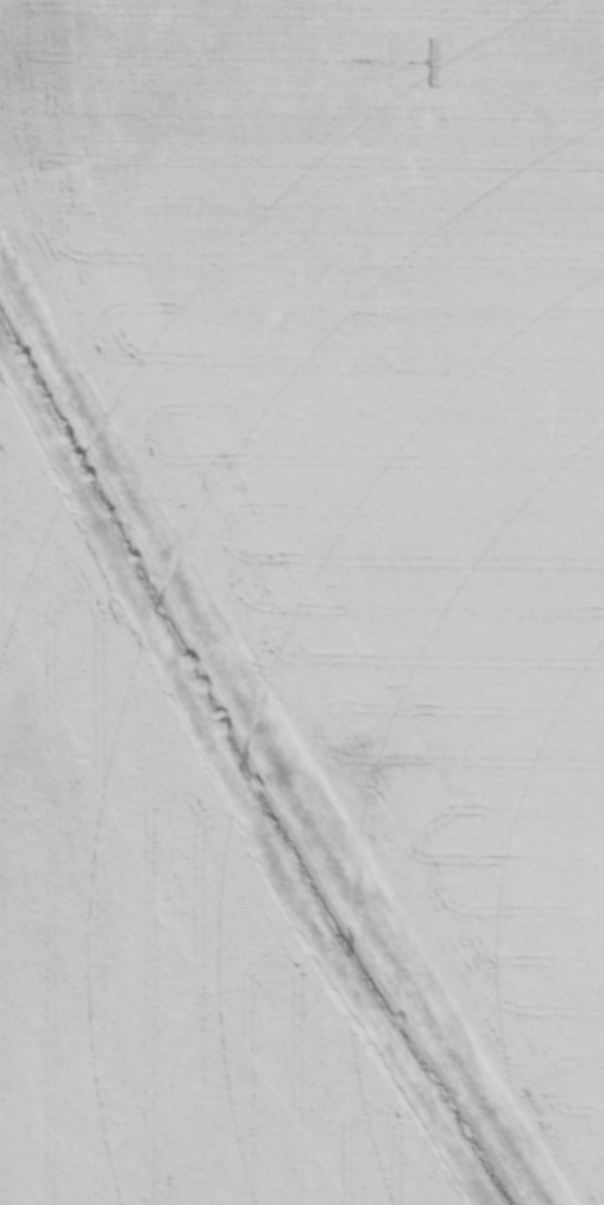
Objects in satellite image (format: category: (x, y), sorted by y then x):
river: (281, 738)

